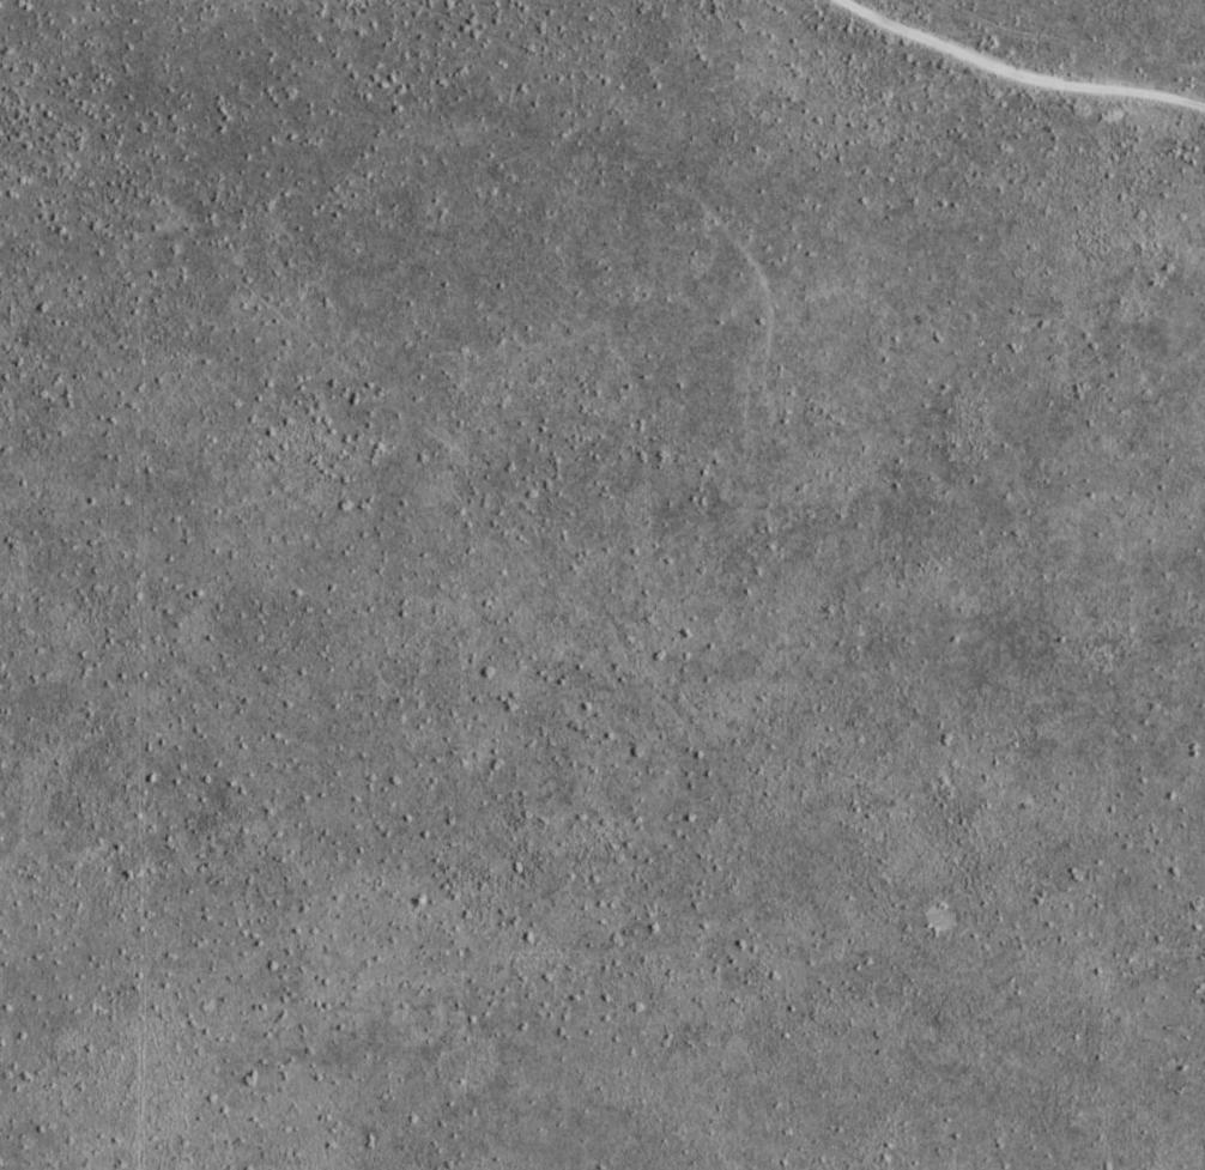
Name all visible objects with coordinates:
road: (1113, 20)

